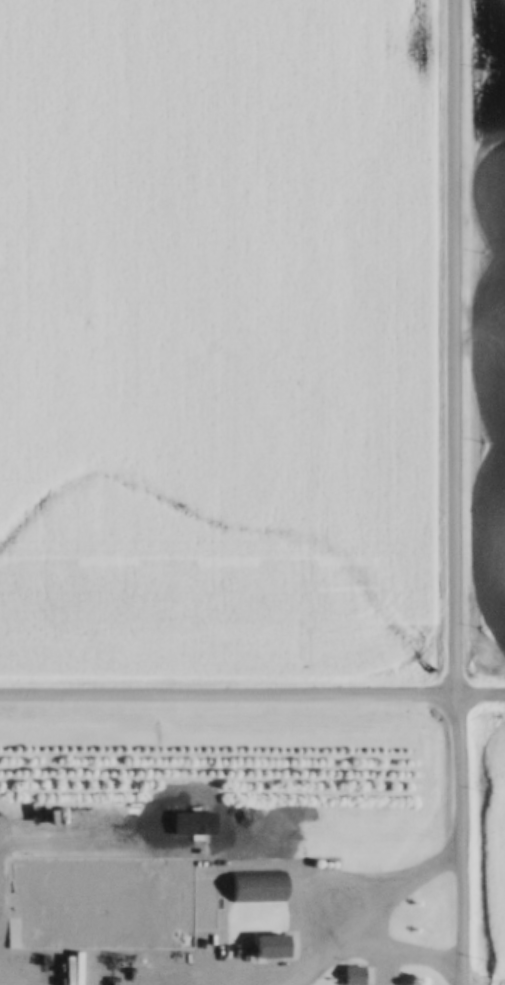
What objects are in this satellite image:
road: (458, 492)
road: (252, 695)
building: (179, 890)
road: (372, 911)
building: (274, 947)
building: (355, 975)

